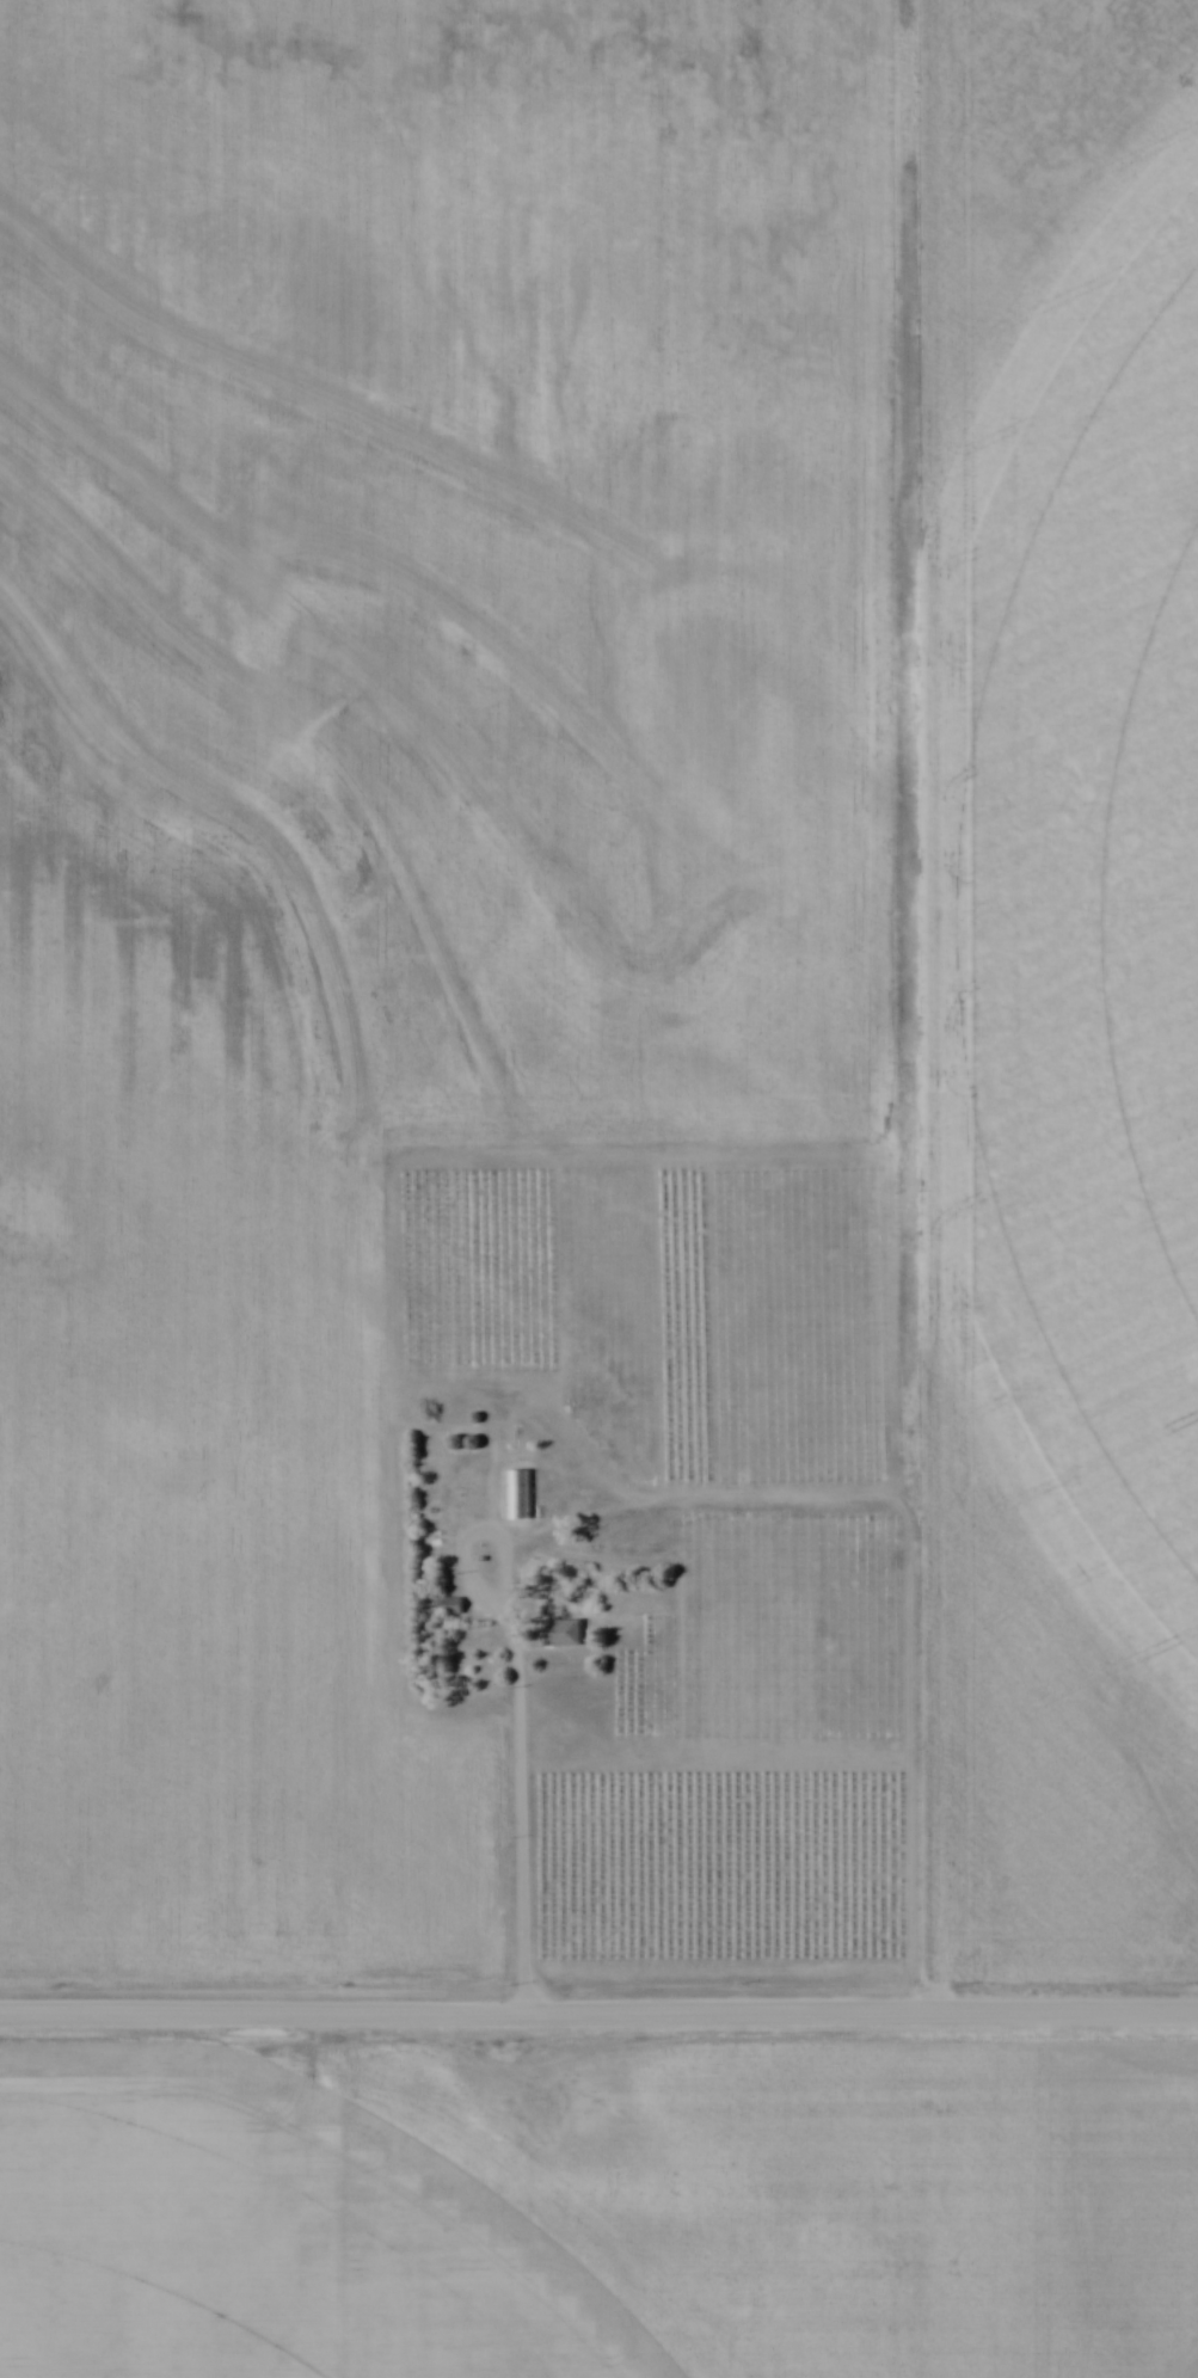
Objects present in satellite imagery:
building: (520, 1498)
building: (454, 1606)
building: (565, 1633)
road: (522, 1780)
road: (598, 2013)

